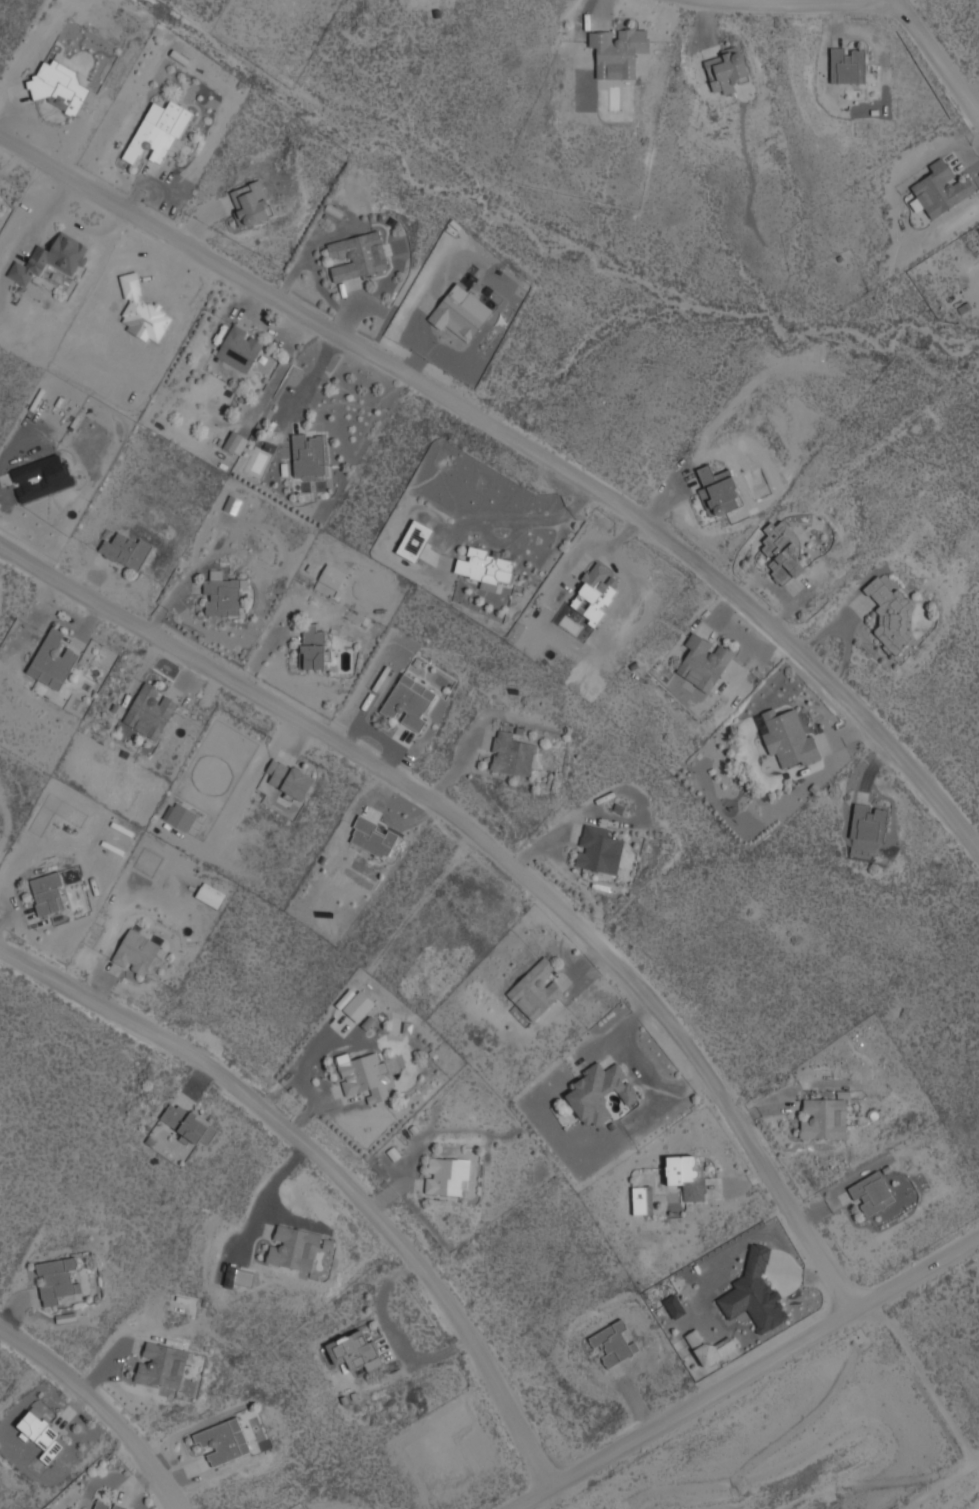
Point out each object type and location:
road: (775, 3)
building: (618, 51)
road: (935, 59)
building: (848, 65)
building: (726, 70)
building: (59, 85)
building: (160, 133)
building: (941, 188)
building: (250, 203)
building: (357, 255)
building: (52, 258)
building: (458, 313)
building: (240, 347)
building: (233, 441)
road: (527, 447)
building: (308, 453)
building: (41, 477)
building: (719, 488)
building: (415, 540)
building: (126, 550)
building: (782, 551)
building: (485, 567)
building: (332, 576)
building: (597, 592)
building: (222, 594)
building: (891, 614)
building: (313, 647)
building: (53, 659)
building: (704, 661)
building: (409, 701)
building: (150, 710)
building: (789, 737)
building: (512, 754)
building: (289, 778)
building: (180, 815)
building: (869, 822)
building: (372, 837)
building: (599, 849)
road: (492, 853)
building: (47, 893)
building: (137, 952)
building: (534, 990)
building: (359, 1005)
building: (364, 1076)
building: (600, 1092)
building: (824, 1118)
building: (189, 1123)
road: (325, 1163)
building: (447, 1175)
building: (687, 1176)
building: (872, 1193)
building: (642, 1199)
building: (294, 1248)
building: (239, 1276)
building: (57, 1280)
building: (755, 1292)
building: (674, 1306)
building: (615, 1343)
building: (355, 1351)
building: (162, 1365)
road: (743, 1370)
road: (100, 1408)
building: (42, 1434)
building: (223, 1441)
building: (107, 1504)

